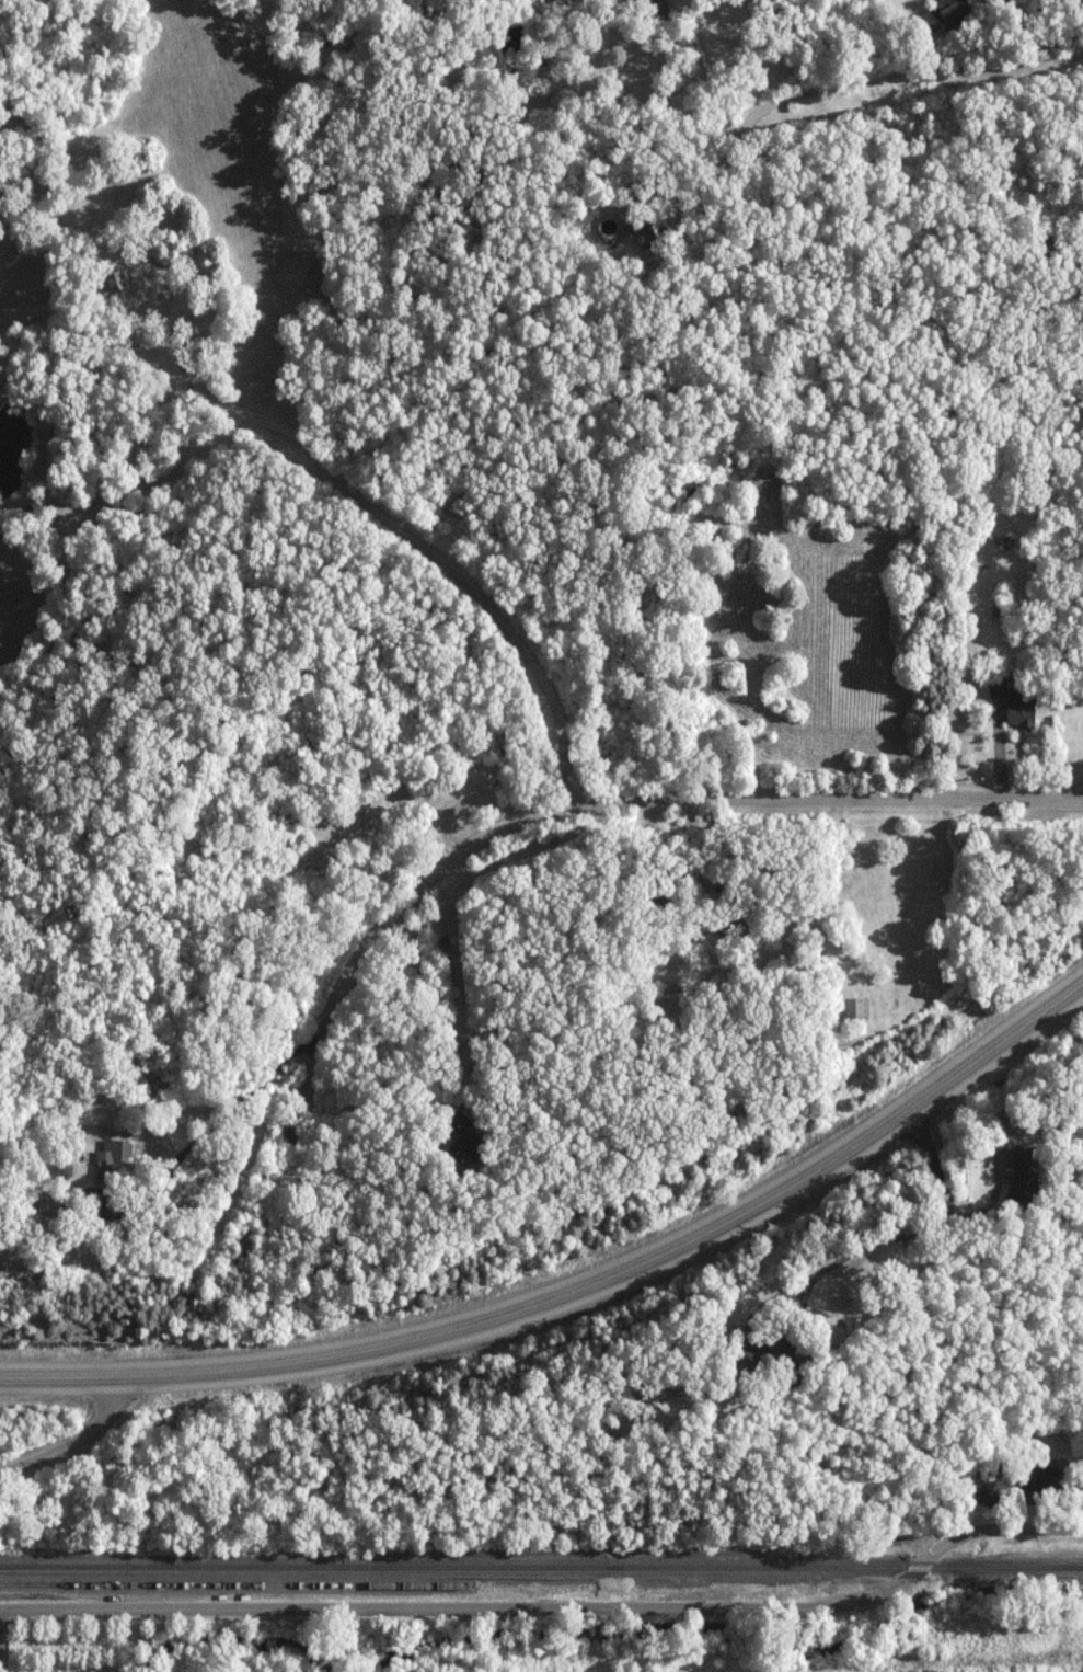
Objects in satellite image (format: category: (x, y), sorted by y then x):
building: (659, 12)
building: (946, 15)
road: (1022, 15)
building: (649, 232)
building: (115, 279)
building: (691, 488)
road: (399, 524)
building: (1016, 702)
building: (475, 769)
road: (597, 802)
building: (376, 815)
building: (734, 923)
road: (433, 1005)
building: (857, 1009)
road: (203, 1130)
building: (464, 1140)
building: (112, 1160)
building: (1024, 1178)
building: (55, 1202)
road: (579, 1290)
building: (777, 1356)
road: (80, 1438)
railway: (541, 1566)
railway: (238, 1584)
road: (552, 1607)

